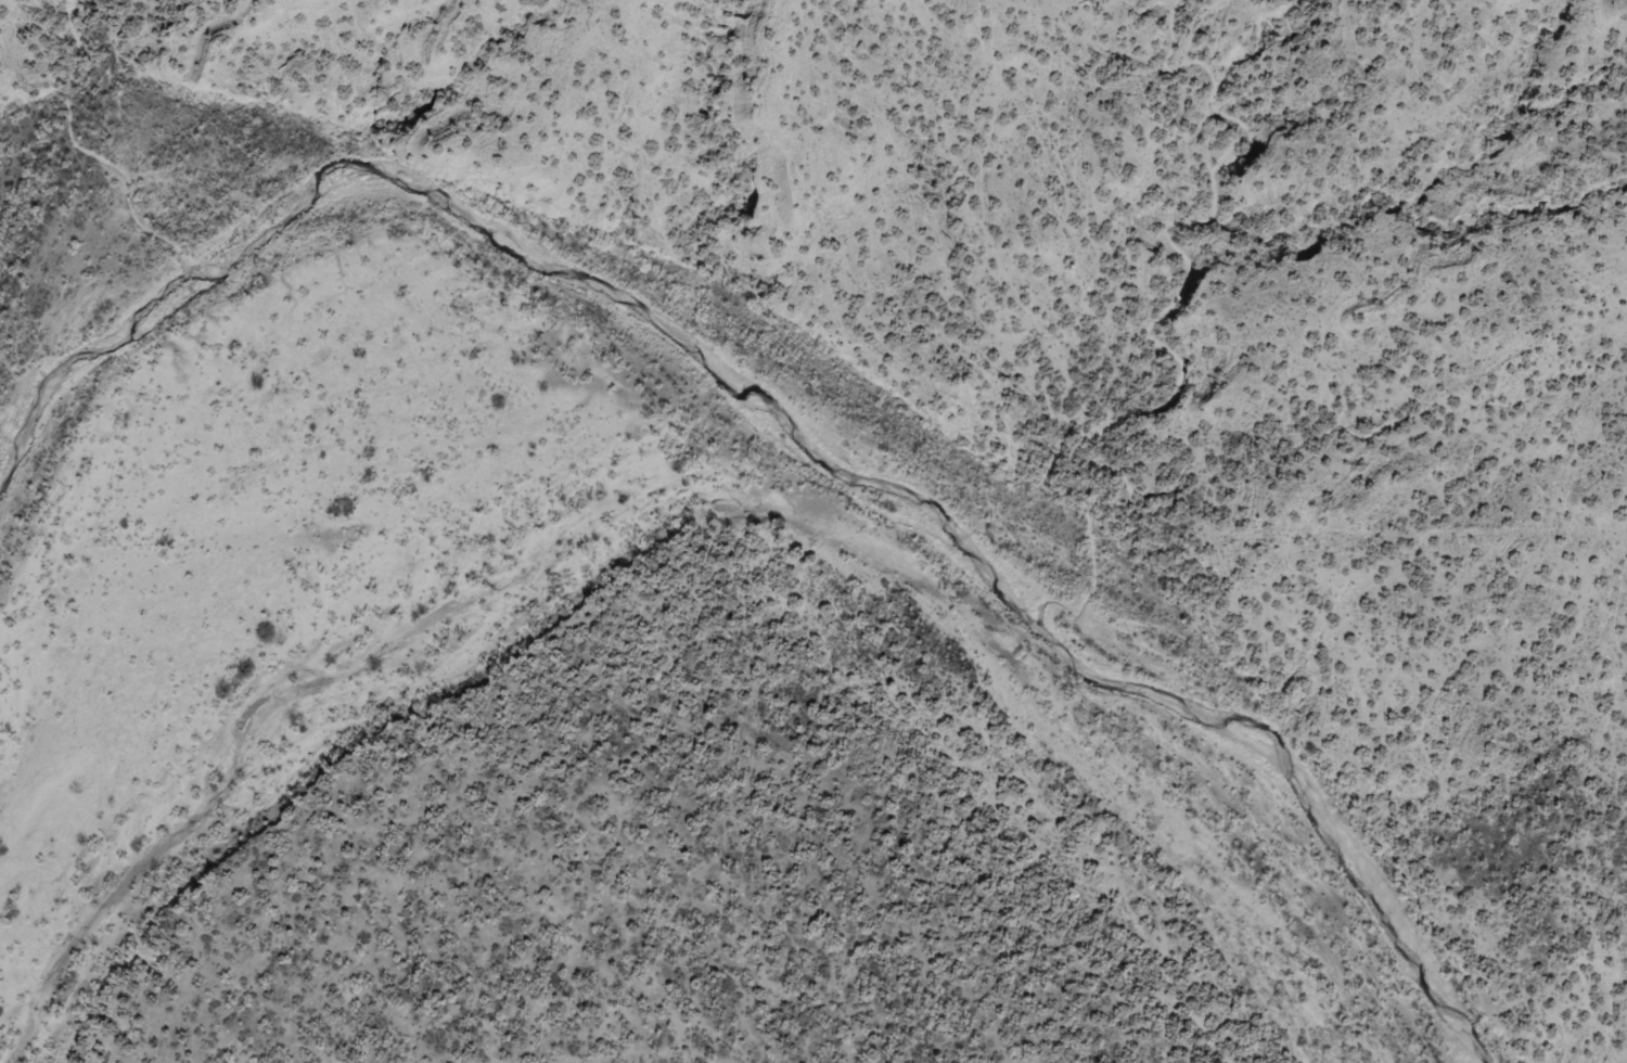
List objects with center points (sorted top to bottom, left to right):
river: (780, 433)
road: (722, 948)

